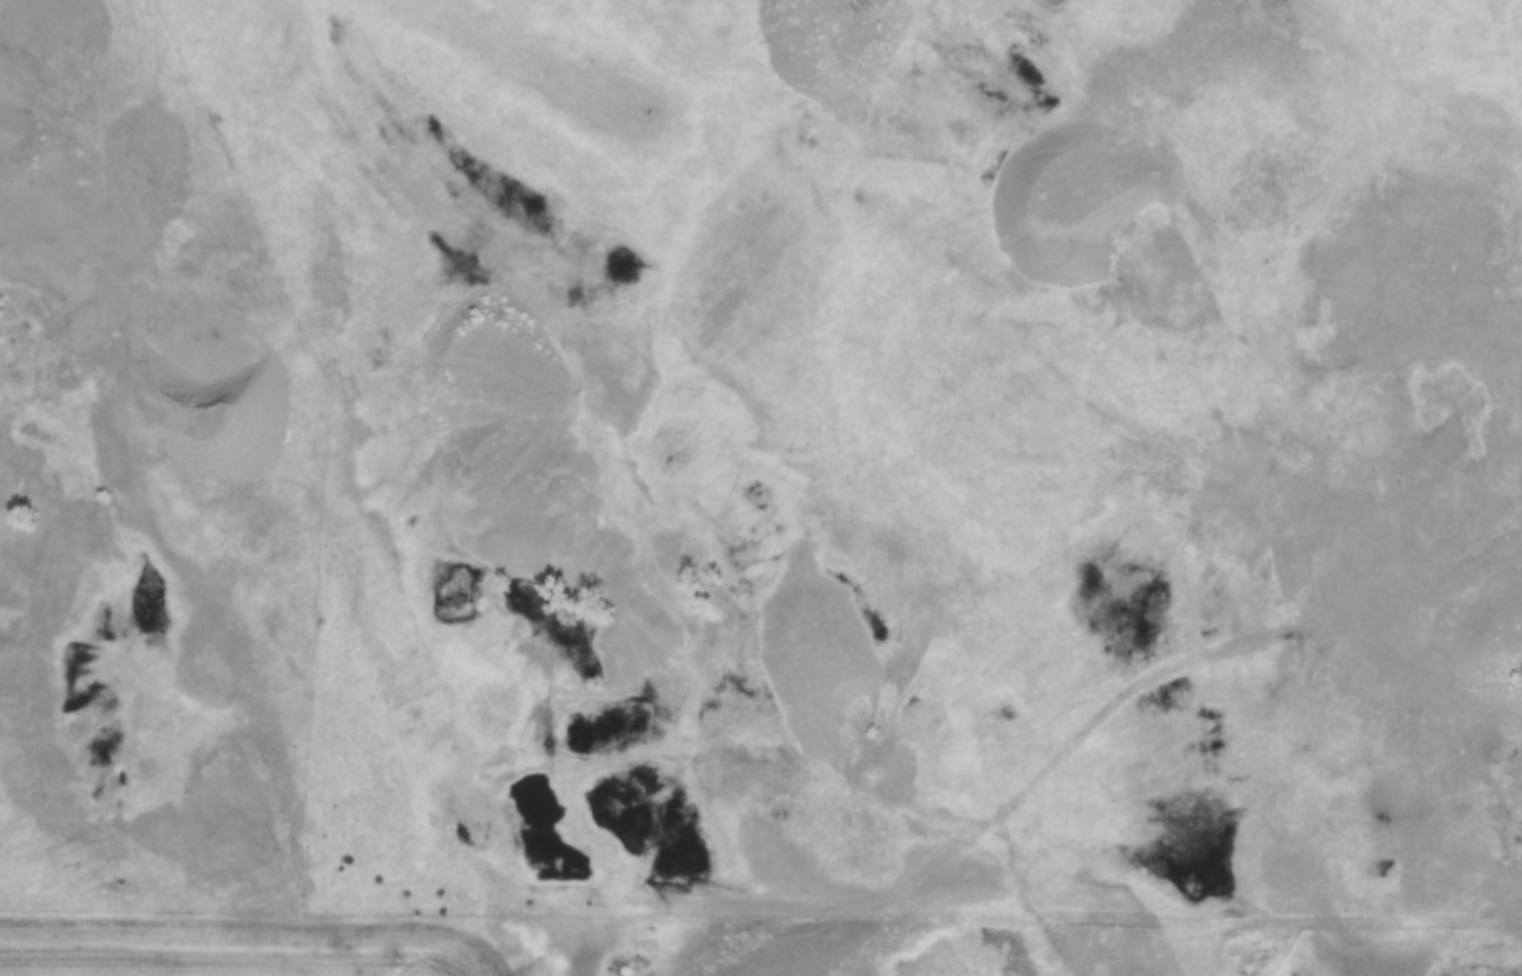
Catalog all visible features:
quarry: (113, 323)

